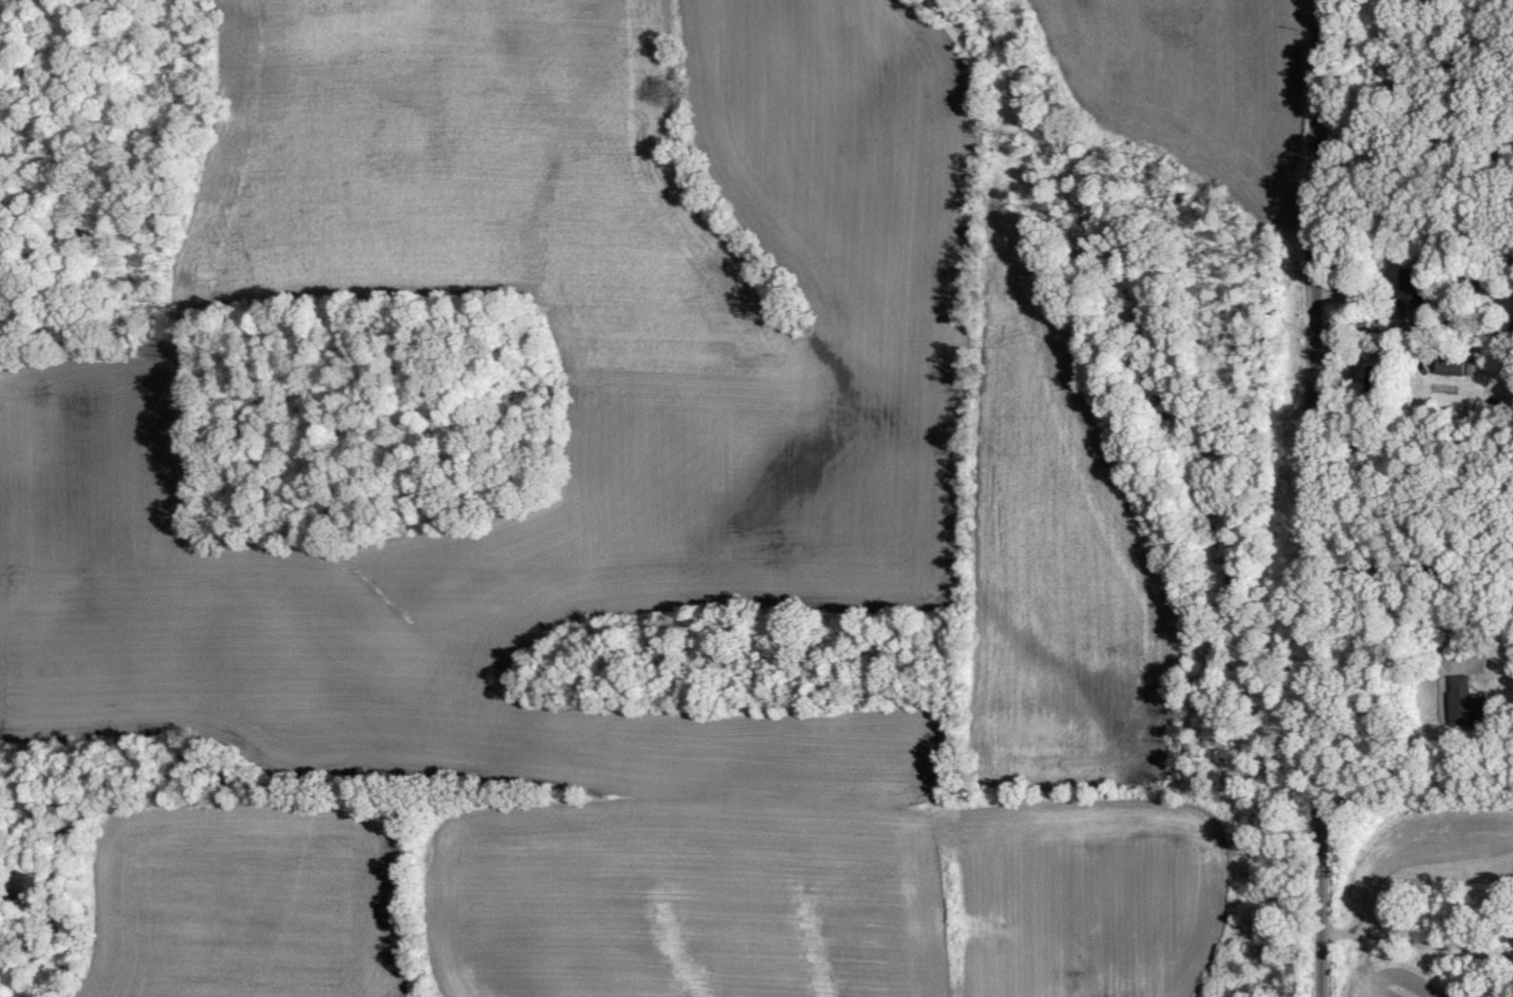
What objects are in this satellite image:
building: (1410, 285)
road: (1416, 324)
building: (1451, 364)
building: (1376, 375)
road: (1320, 498)
road: (1446, 665)
building: (1466, 701)
building: (1512, 925)

